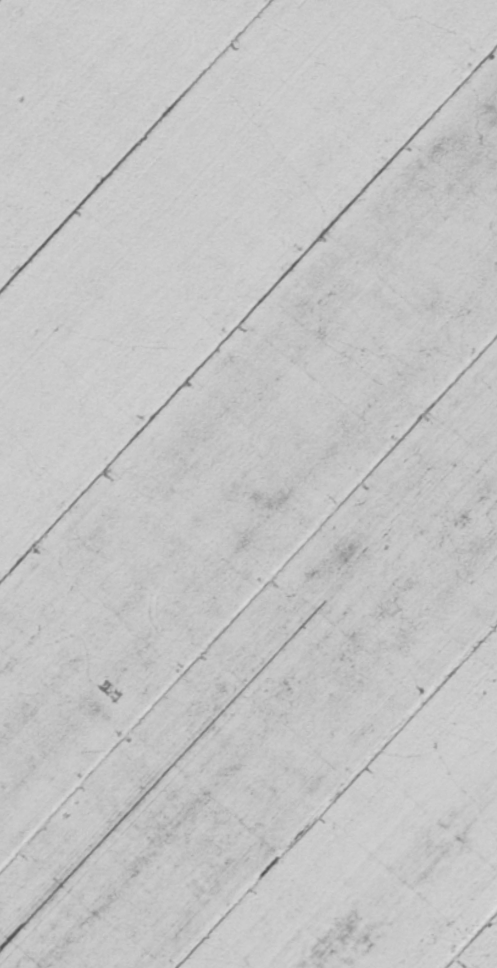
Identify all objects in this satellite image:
crop: (248, 484)

